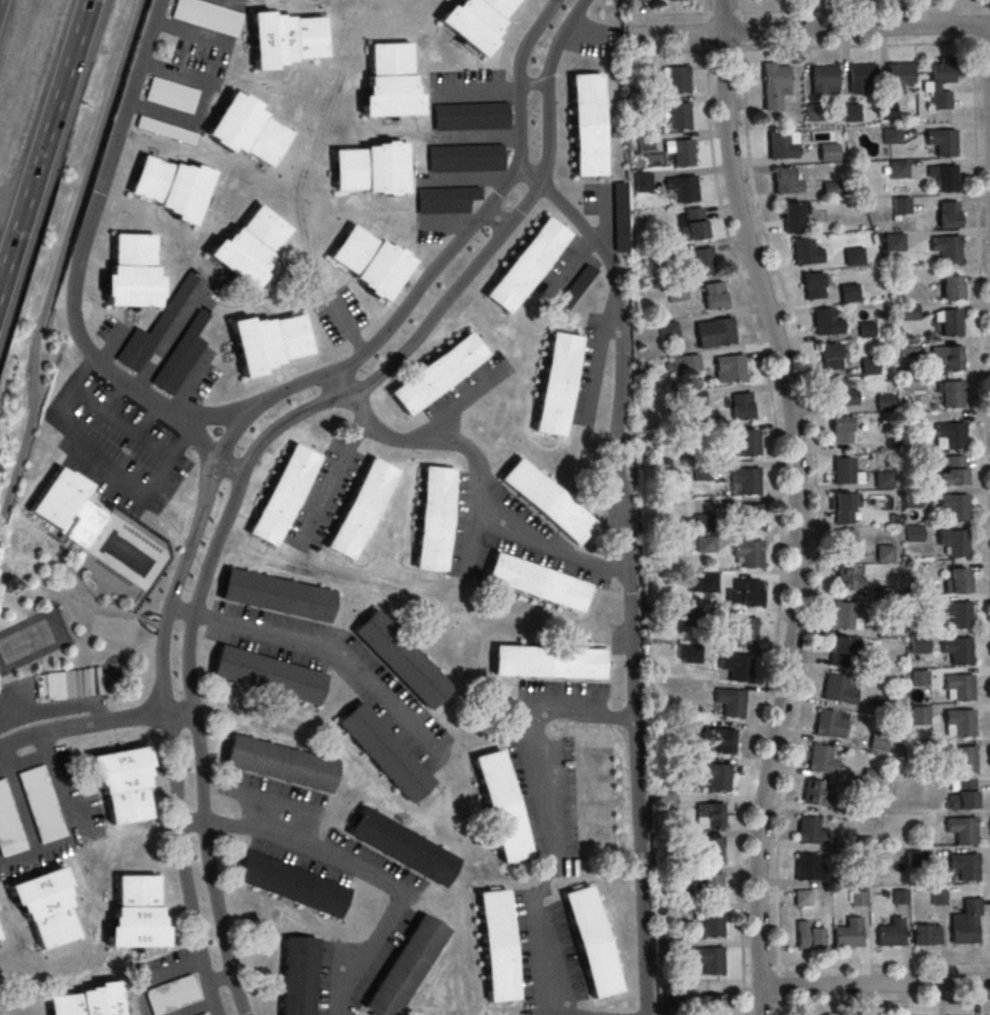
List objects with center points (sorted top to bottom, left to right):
building: (673, 1)
road: (807, 9)
building: (208, 15)
building: (474, 21)
road: (806, 29)
road: (206, 38)
building: (284, 38)
parking lot: (590, 38)
road: (866, 45)
road: (989, 49)
parking lot: (190, 69)
building: (897, 77)
building: (860, 80)
building: (390, 82)
building: (678, 82)
building: (822, 82)
building: (940, 82)
building: (775, 83)
road: (535, 88)
road: (479, 89)
building: (171, 94)
road: (205, 101)
building: (887, 112)
building: (849, 113)
building: (811, 114)
building: (678, 117)
building: (470, 118)
building: (586, 124)
building: (246, 128)
building: (165, 132)
building: (890, 137)
road: (478, 140)
building: (644, 141)
building: (943, 141)
road: (44, 143)
building: (782, 144)
parking lot: (463, 149)
building: (681, 154)
building: (827, 154)
building: (464, 160)
building: (369, 168)
building: (897, 171)
building: (944, 176)
road: (467, 180)
building: (784, 180)
building: (643, 181)
building: (169, 185)
building: (683, 187)
building: (830, 187)
building: (444, 201)
road: (12, 204)
building: (900, 207)
parking lot: (607, 212)
building: (948, 214)
building: (792, 216)
building: (618, 219)
building: (691, 223)
road: (606, 224)
road: (446, 225)
building: (893, 243)
building: (250, 245)
building: (947, 248)
building: (804, 250)
road: (61, 256)
building: (854, 256)
building: (368, 261)
building: (699, 261)
building: (552, 271)
building: (132, 272)
road: (76, 273)
parking lot: (566, 276)
building: (813, 285)
building: (951, 287)
building: (575, 288)
building: (848, 292)
building: (675, 294)
building: (713, 295)
building: (907, 313)
parking lot: (338, 317)
building: (949, 320)
building: (825, 321)
road: (346, 326)
building: (866, 328)
building: (152, 330)
building: (667, 331)
road: (53, 332)
building: (714, 332)
road: (174, 339)
building: (269, 341)
parking lot: (169, 344)
road: (980, 345)
building: (908, 350)
building: (830, 355)
building: (950, 357)
building: (180, 358)
road: (763, 359)
building: (685, 363)
building: (869, 367)
building: (730, 369)
building: (436, 372)
parking lot: (588, 373)
building: (582, 375)
road: (344, 384)
building: (911, 385)
parking lot: (468, 390)
building: (840, 393)
building: (952, 393)
road: (115, 399)
building: (694, 399)
building: (884, 404)
building: (742, 405)
road: (461, 408)
road: (208, 417)
road: (149, 424)
road: (122, 427)
building: (841, 429)
building: (951, 434)
road: (228, 443)
building: (742, 443)
road: (262, 446)
parking lot: (116, 447)
road: (466, 454)
road: (101, 464)
road: (338, 470)
building: (955, 470)
building: (845, 471)
building: (701, 474)
building: (883, 481)
building: (745, 482)
road: (814, 482)
building: (282, 494)
parking lot: (609, 494)
building: (57, 497)
parking lot: (323, 497)
building: (912, 500)
building: (509, 503)
road: (795, 505)
building: (955, 505)
building: (843, 506)
building: (359, 508)
building: (747, 517)
building: (456, 521)
building: (82, 523)
building: (702, 524)
building: (912, 534)
parking lot: (507, 535)
building: (954, 541)
road: (549, 544)
building: (704, 545)
building: (845, 545)
building: (125, 549)
building: (884, 553)
building: (748, 555)
building: (521, 559)
road: (627, 573)
building: (847, 580)
building: (706, 584)
building: (955, 584)
building: (276, 594)
building: (742, 595)
building: (916, 608)
road: (182, 614)
building: (957, 615)
building: (687, 617)
building: (843, 619)
building: (275, 621)
building: (740, 630)
parking lot: (615, 640)
building: (918, 643)
road: (313, 647)
building: (956, 651)
building: (839, 652)
building: (276, 653)
building: (690, 655)
building: (547, 661)
building: (734, 668)
parking lot: (334, 671)
building: (379, 674)
building: (266, 675)
building: (918, 679)
building: (558, 688)
building: (959, 689)
building: (600, 690)
building: (836, 692)
parking lot: (560, 695)
parking lot: (49, 697)
road: (59, 697)
building: (728, 704)
building: (882, 708)
building: (919, 716)
road: (94, 722)
building: (960, 724)
building: (826, 727)
building: (722, 740)
building: (877, 743)
building: (383, 751)
building: (913, 751)
building: (565, 755)
building: (961, 759)
building: (820, 762)
building: (278, 763)
building: (715, 777)
building: (869, 779)
building: (518, 781)
building: (123, 785)
building: (594, 789)
building: (814, 796)
building: (962, 797)
parking lot: (547, 800)
road: (17, 802)
building: (40, 805)
parking lot: (43, 811)
building: (866, 811)
building: (709, 814)
building: (921, 820)
road: (191, 824)
building: (8, 827)
road: (77, 827)
road: (553, 827)
building: (961, 831)
building: (809, 834)
building: (570, 836)
building: (401, 846)
building: (862, 846)
building: (709, 852)
building: (916, 861)
road: (740, 867)
building: (964, 868)
building: (807, 870)
road: (368, 873)
building: (854, 877)
building: (290, 883)
building: (708, 888)
building: (937, 897)
building: (899, 898)
building: (856, 900)
building: (44, 905)
building: (135, 913)
building: (709, 924)
building: (963, 933)
building: (926, 934)
building: (890, 935)
building: (847, 936)
building: (0, 937)
building: (807, 939)
building: (583, 943)
building: (494, 945)
building: (707, 962)
building: (404, 966)
building: (297, 975)
road: (157, 977)
road: (220, 980)
road: (874, 984)
parking lot: (168, 985)
road: (779, 987)
building: (171, 996)
building: (87, 1001)
building: (712, 1004)
road: (196, 1008)
road: (779, 1010)
building: (203, 1014)

